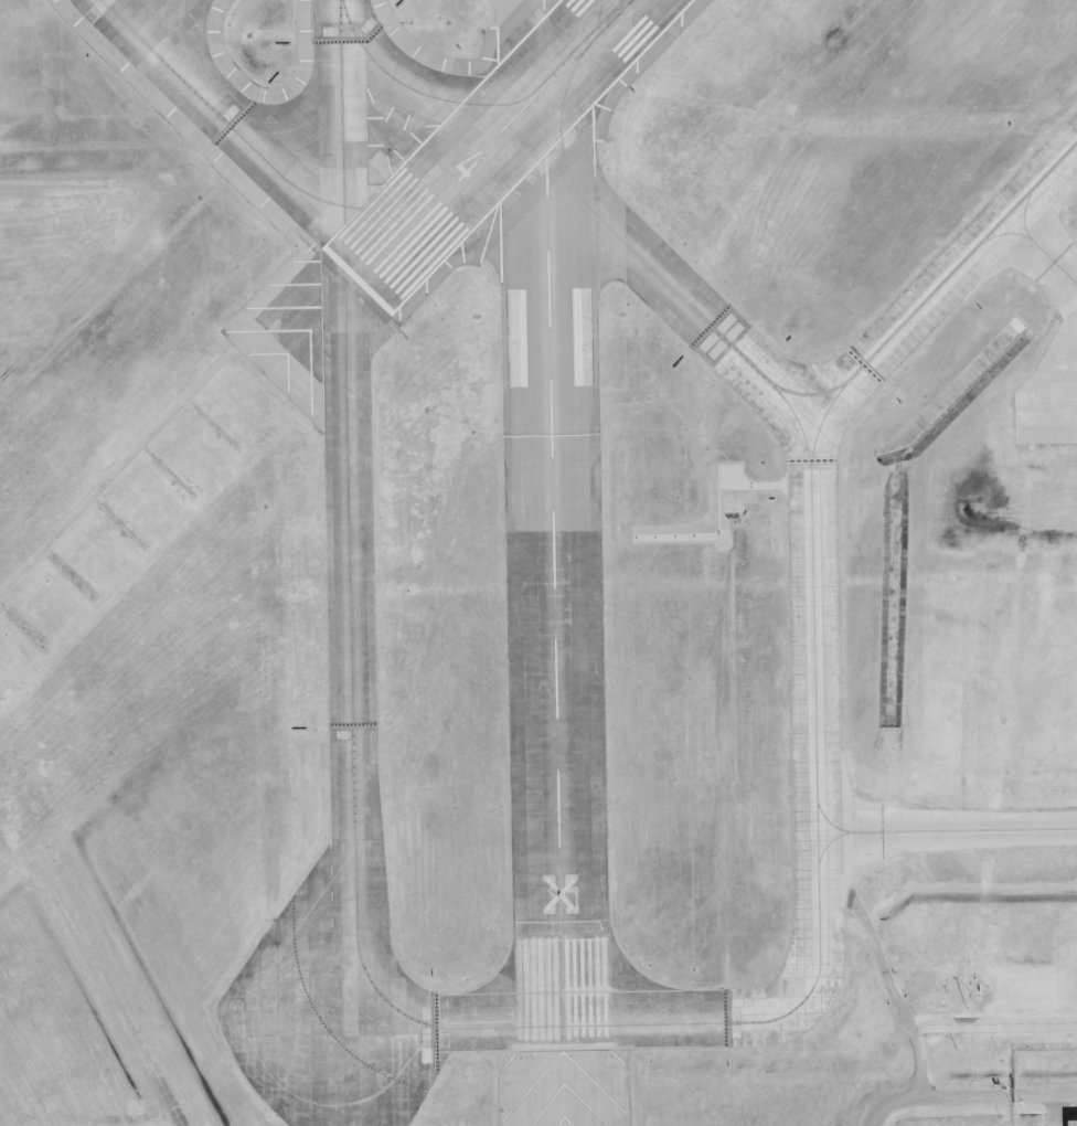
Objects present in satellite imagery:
airport taxiway: (591, 38)
airport taxiway: (382, 67)
airport taxiway: (536, 87)
airport taxiway: (221, 115)
airport taxiway: (561, 137)
airport runway: (490, 141)
airport taxiway: (404, 199)
airport taxiway: (718, 333)
airport taxiway: (798, 422)
road: (118, 470)
airport runway: (552, 524)
airport: (538, 563)
airport taxiway: (350, 571)
airport taxiway: (814, 671)
road: (947, 835)
road: (887, 977)
road: (1045, 1093)
road: (932, 1095)
road: (175, 1100)
road: (1055, 1109)
building: (1071, 1123)

